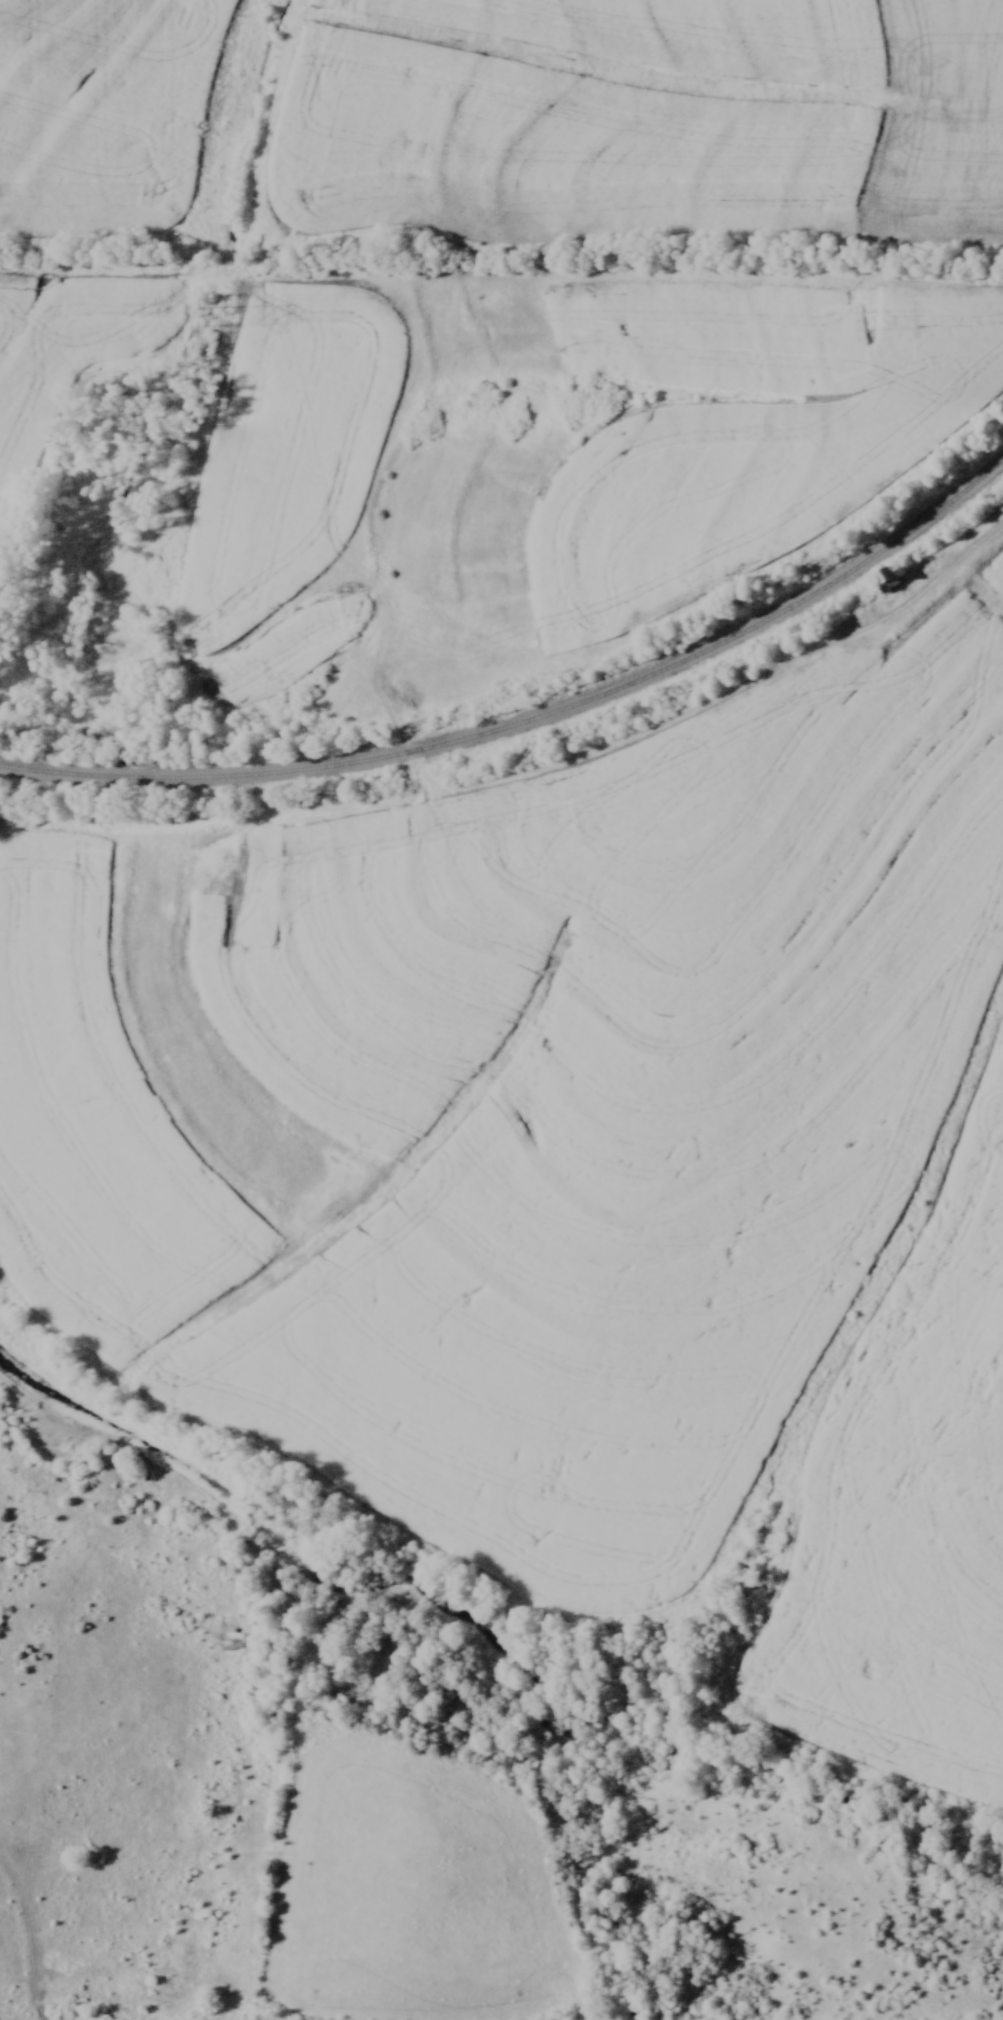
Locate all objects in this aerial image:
power tower: (218, 315)
power tower: (870, 319)
building: (886, 578)
railway: (531, 712)

